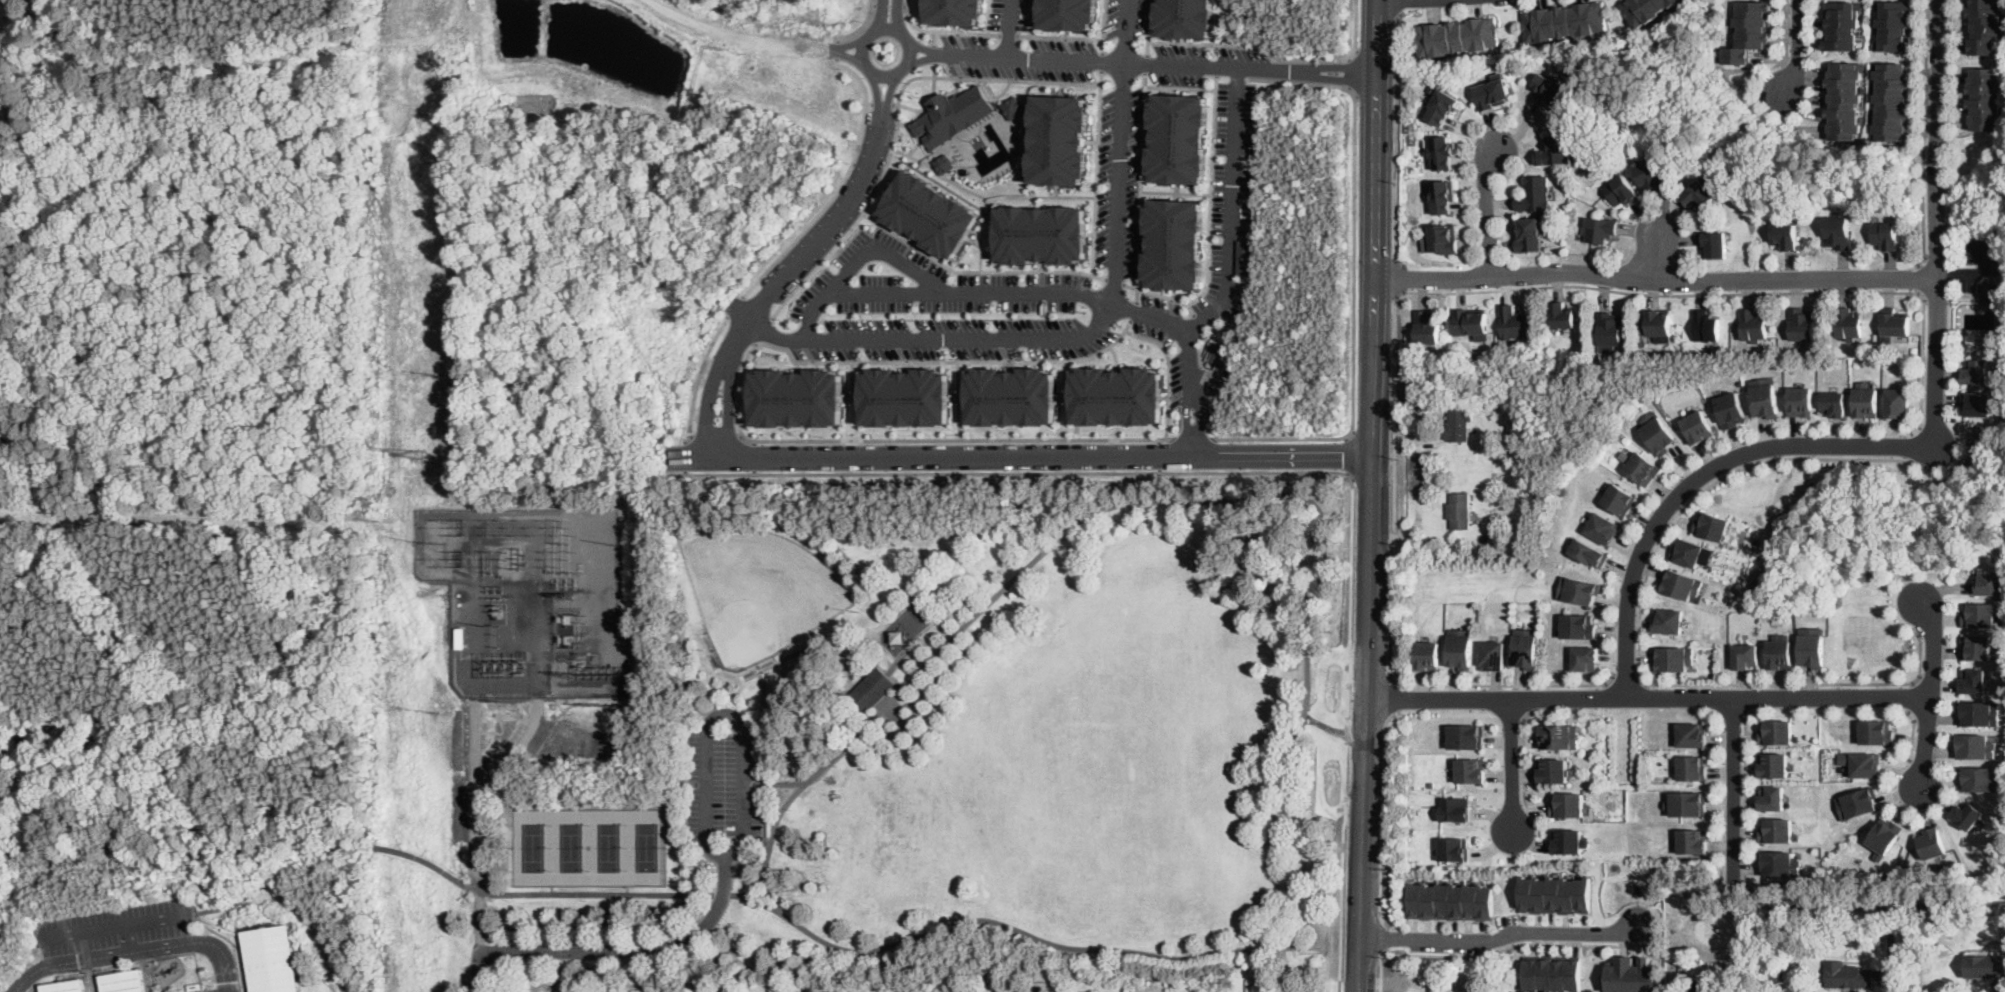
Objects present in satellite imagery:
road: (888, 4)
road: (1400, 7)
building: (1647, 10)
building: (954, 11)
building: (1067, 14)
road: (897, 15)
road: (878, 16)
road: (987, 16)
road: (1029, 17)
building: (1185, 18)
building: (1565, 21)
parking lot: (1126, 22)
road: (861, 24)
building: (1842, 24)
road: (1103, 25)
building: (1895, 25)
building: (1985, 25)
road: (889, 26)
road: (1007, 27)
road: (943, 30)
building: (1750, 31)
road: (1008, 33)
road: (1059, 35)
road: (1785, 36)
road: (934, 37)
building: (1456, 37)
road: (849, 43)
road: (1262, 44)
road: (919, 45)
road: (862, 46)
road: (1147, 46)
road: (836, 49)
road: (1797, 51)
road: (910, 53)
road: (934, 53)
parking lot: (1035, 53)
road: (849, 54)
road: (919, 58)
road: (1103, 59)
road: (1147, 62)
road: (1155, 62)
road: (1354, 72)
road: (883, 74)
road: (934, 78)
road: (1181, 86)
building: (1551, 88)
road: (878, 92)
road: (889, 92)
building: (1493, 93)
building: (1986, 98)
building: (1845, 100)
road: (882, 101)
building: (1893, 101)
building: (1013, 107)
building: (1442, 107)
building: (952, 115)
road: (898, 120)
road: (1927, 132)
building: (1179, 138)
road: (1375, 139)
road: (1396, 139)
building: (1060, 140)
building: (1554, 151)
building: (1442, 152)
building: (944, 163)
road: (1097, 171)
building: (1651, 177)
parking lot: (1119, 185)
road: (1141, 185)
road: (838, 186)
road: (972, 189)
road: (1176, 190)
building: (1621, 191)
road: (1043, 195)
building: (1535, 195)
building: (1441, 196)
building: (1698, 196)
parking lot: (1232, 201)
road: (1232, 208)
building: (931, 213)
road: (1486, 213)
road: (1937, 223)
road: (1209, 226)
building: (1599, 230)
building: (1837, 232)
building: (1043, 234)
building: (1531, 235)
building: (1886, 236)
building: (1785, 237)
building: (1443, 239)
building: (1174, 243)
building: (1713, 245)
road: (811, 246)
road: (861, 251)
road: (1657, 255)
building: (1244, 257)
parking lot: (1982, 260)
road: (976, 269)
road: (1976, 272)
road: (1353, 277)
road: (1396, 277)
road: (1918, 277)
road: (1655, 279)
road: (1114, 280)
road: (1041, 291)
road: (1730, 291)
building: (1991, 292)
road: (735, 305)
road: (1190, 308)
parking lot: (944, 309)
road: (1132, 309)
building: (1562, 316)
building: (1894, 323)
road: (1228, 324)
building: (1472, 324)
building: (1515, 324)
building: (1802, 324)
building: (1848, 324)
building: (1659, 325)
building: (1752, 326)
building: (1705, 327)
building: (1428, 328)
road: (762, 329)
building: (1609, 329)
road: (1073, 337)
building: (1915, 350)
building: (1413, 354)
road: (1116, 357)
road: (946, 361)
road: (796, 366)
road: (905, 366)
road: (1372, 366)
road: (1166, 371)
building: (1978, 371)
road: (699, 374)
power tower: (437, 375)
parking lot: (1177, 376)
road: (1064, 378)
road: (850, 379)
building: (1486, 390)
building: (1012, 396)
building: (1117, 396)
road: (1164, 396)
building: (797, 397)
building: (904, 397)
road: (958, 397)
road: (1065, 397)
building: (1765, 397)
road: (746, 398)
road: (851, 398)
road: (958, 400)
building: (1801, 401)
building: (1867, 402)
building: (1835, 403)
building: (1899, 403)
building: (1979, 403)
road: (1205, 406)
road: (707, 408)
road: (729, 409)
building: (1731, 409)
road: (1185, 414)
road: (1198, 414)
building: (1458, 424)
building: (1698, 427)
building: (1658, 433)
road: (717, 434)
road: (1346, 437)
road: (1191, 438)
road: (908, 439)
road: (1158, 441)
road: (1192, 443)
road: (1911, 445)
power tower: (417, 454)
road: (1017, 454)
road: (1347, 454)
road: (754, 455)
road: (1158, 455)
road: (687, 456)
building: (1641, 467)
road: (1159, 470)
road: (1265, 471)
road: (1347, 472)
road: (1699, 477)
road: (1393, 486)
building: (1618, 500)
building: (1460, 510)
building: (1496, 520)
building: (1711, 526)
building: (1602, 528)
building: (1757, 542)
power tower: (436, 544)
building: (1686, 551)
building: (1588, 553)
building: (1991, 582)
building: (1682, 583)
park: (760, 590)
building: (1578, 590)
power substation: (528, 598)
building: (1979, 615)
building: (1669, 621)
building: (1578, 626)
road: (1639, 628)
building: (1812, 646)
building: (1977, 647)
building: (1527, 648)
building: (1460, 649)
building: (1779, 652)
building: (1428, 655)
building: (1493, 655)
building: (1746, 656)
building: (1586, 658)
building: (1674, 658)
road: (1626, 678)
building: (1974, 680)
road: (1506, 683)
building: (872, 690)
road: (1749, 695)
road: (1909, 695)
road: (1931, 695)
road: (1394, 696)
road: (1524, 697)
road: (1649, 697)
building: (1979, 712)
power tower: (438, 713)
road: (1368, 723)
road: (1326, 724)
road: (742, 727)
building: (1777, 731)
road: (1369, 732)
building: (1877, 732)
road: (1913, 734)
building: (1468, 735)
building: (1692, 735)
building: (1561, 736)
park: (966, 741)
building: (1976, 746)
road: (1293, 754)
road: (1524, 760)
building: (1863, 763)
road: (1512, 765)
building: (1774, 765)
building: (1692, 768)
building: (1472, 770)
building: (1554, 771)
building: (1982, 779)
road: (787, 783)
parking lot: (726, 784)
road: (1733, 788)
road: (1744, 789)
building: (1772, 798)
road: (789, 800)
building: (1858, 802)
building: (1687, 803)
building: (1568, 804)
building: (1457, 808)
road: (1385, 813)
building: (1968, 813)
building: (1777, 830)
building: (1885, 835)
building: (1568, 841)
building: (1692, 841)
building: (1933, 843)
park: (571, 847)
park: (647, 847)
park: (533, 848)
park: (609, 848)
building: (1454, 848)
building: (1780, 863)
road: (772, 891)
building: (1555, 894)
building: (1452, 901)
road: (1987, 903)
road: (1833, 907)
parking lot: (118, 926)
road: (118, 926)
road: (223, 935)
road: (1384, 935)
road: (1501, 935)
road: (129, 938)
road: (1511, 946)
road: (137, 951)
road: (615, 951)
road: (88, 956)
building: (271, 960)
building: (1834, 960)
building: (1985, 966)
road: (103, 970)
building: (204, 970)
road: (1380, 971)
building: (1553, 972)
road: (79, 973)
building: (1633, 975)
building: (1847, 976)
road: (91, 981)
building: (125, 981)
road: (1338, 984)
building: (66, 986)
road: (151, 987)
building: (196, 987)
building: (1705, 987)

